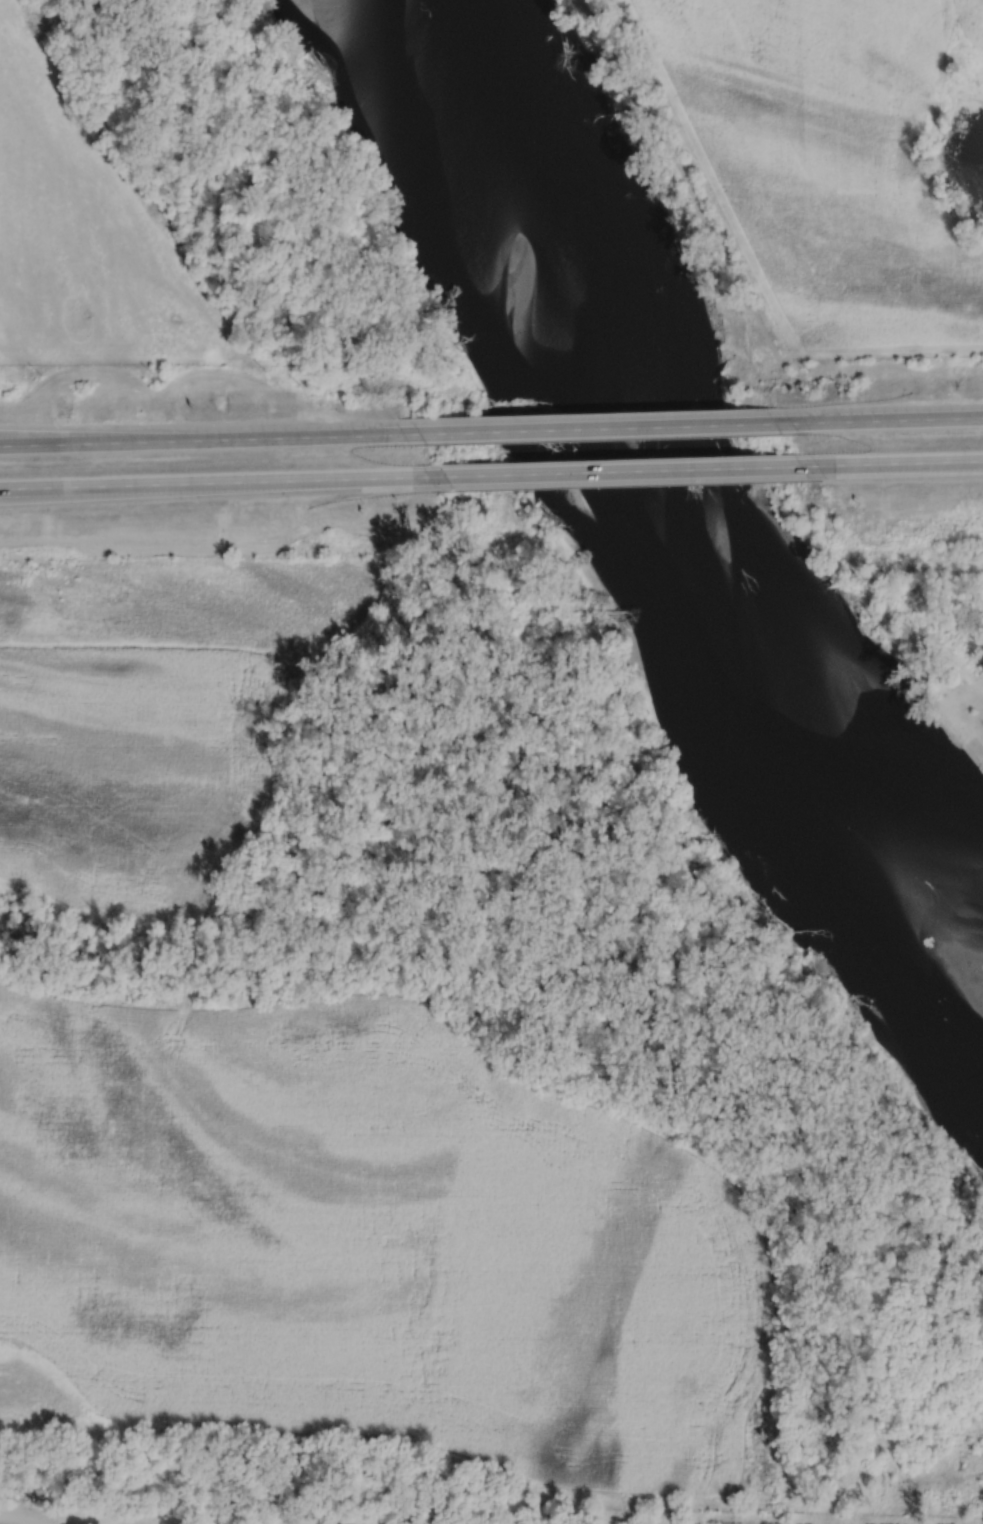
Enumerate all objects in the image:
road: (886, 419)
road: (588, 429)
road: (57, 440)
road: (194, 440)
road: (907, 462)
road: (907, 466)
road: (609, 473)
road: (194, 483)
road: (22, 489)
river: (685, 501)
park: (928, 607)
crop: (152, 719)
road: (190, 969)
crop: (366, 1244)
road: (20, 1517)

